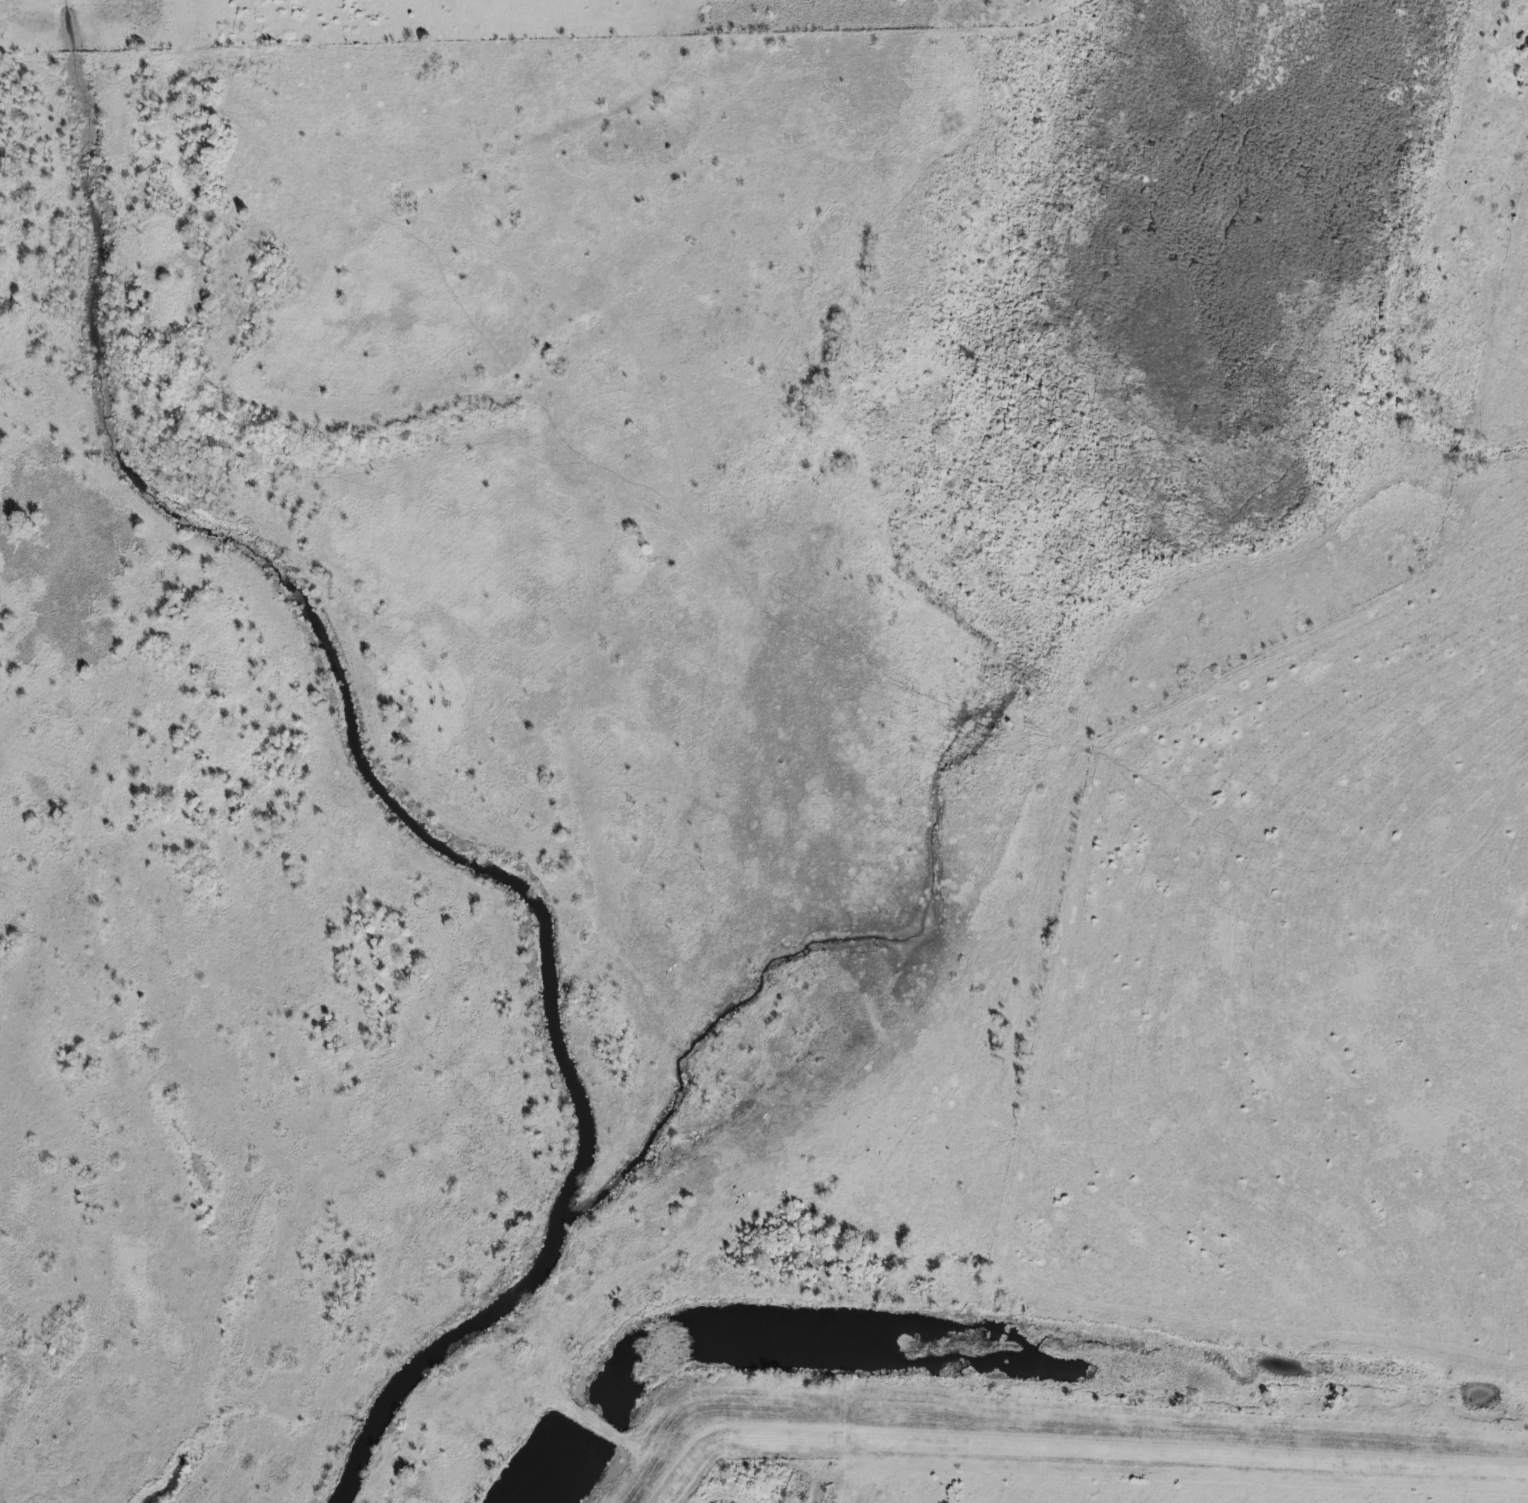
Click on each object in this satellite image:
road: (1070, 1443)

